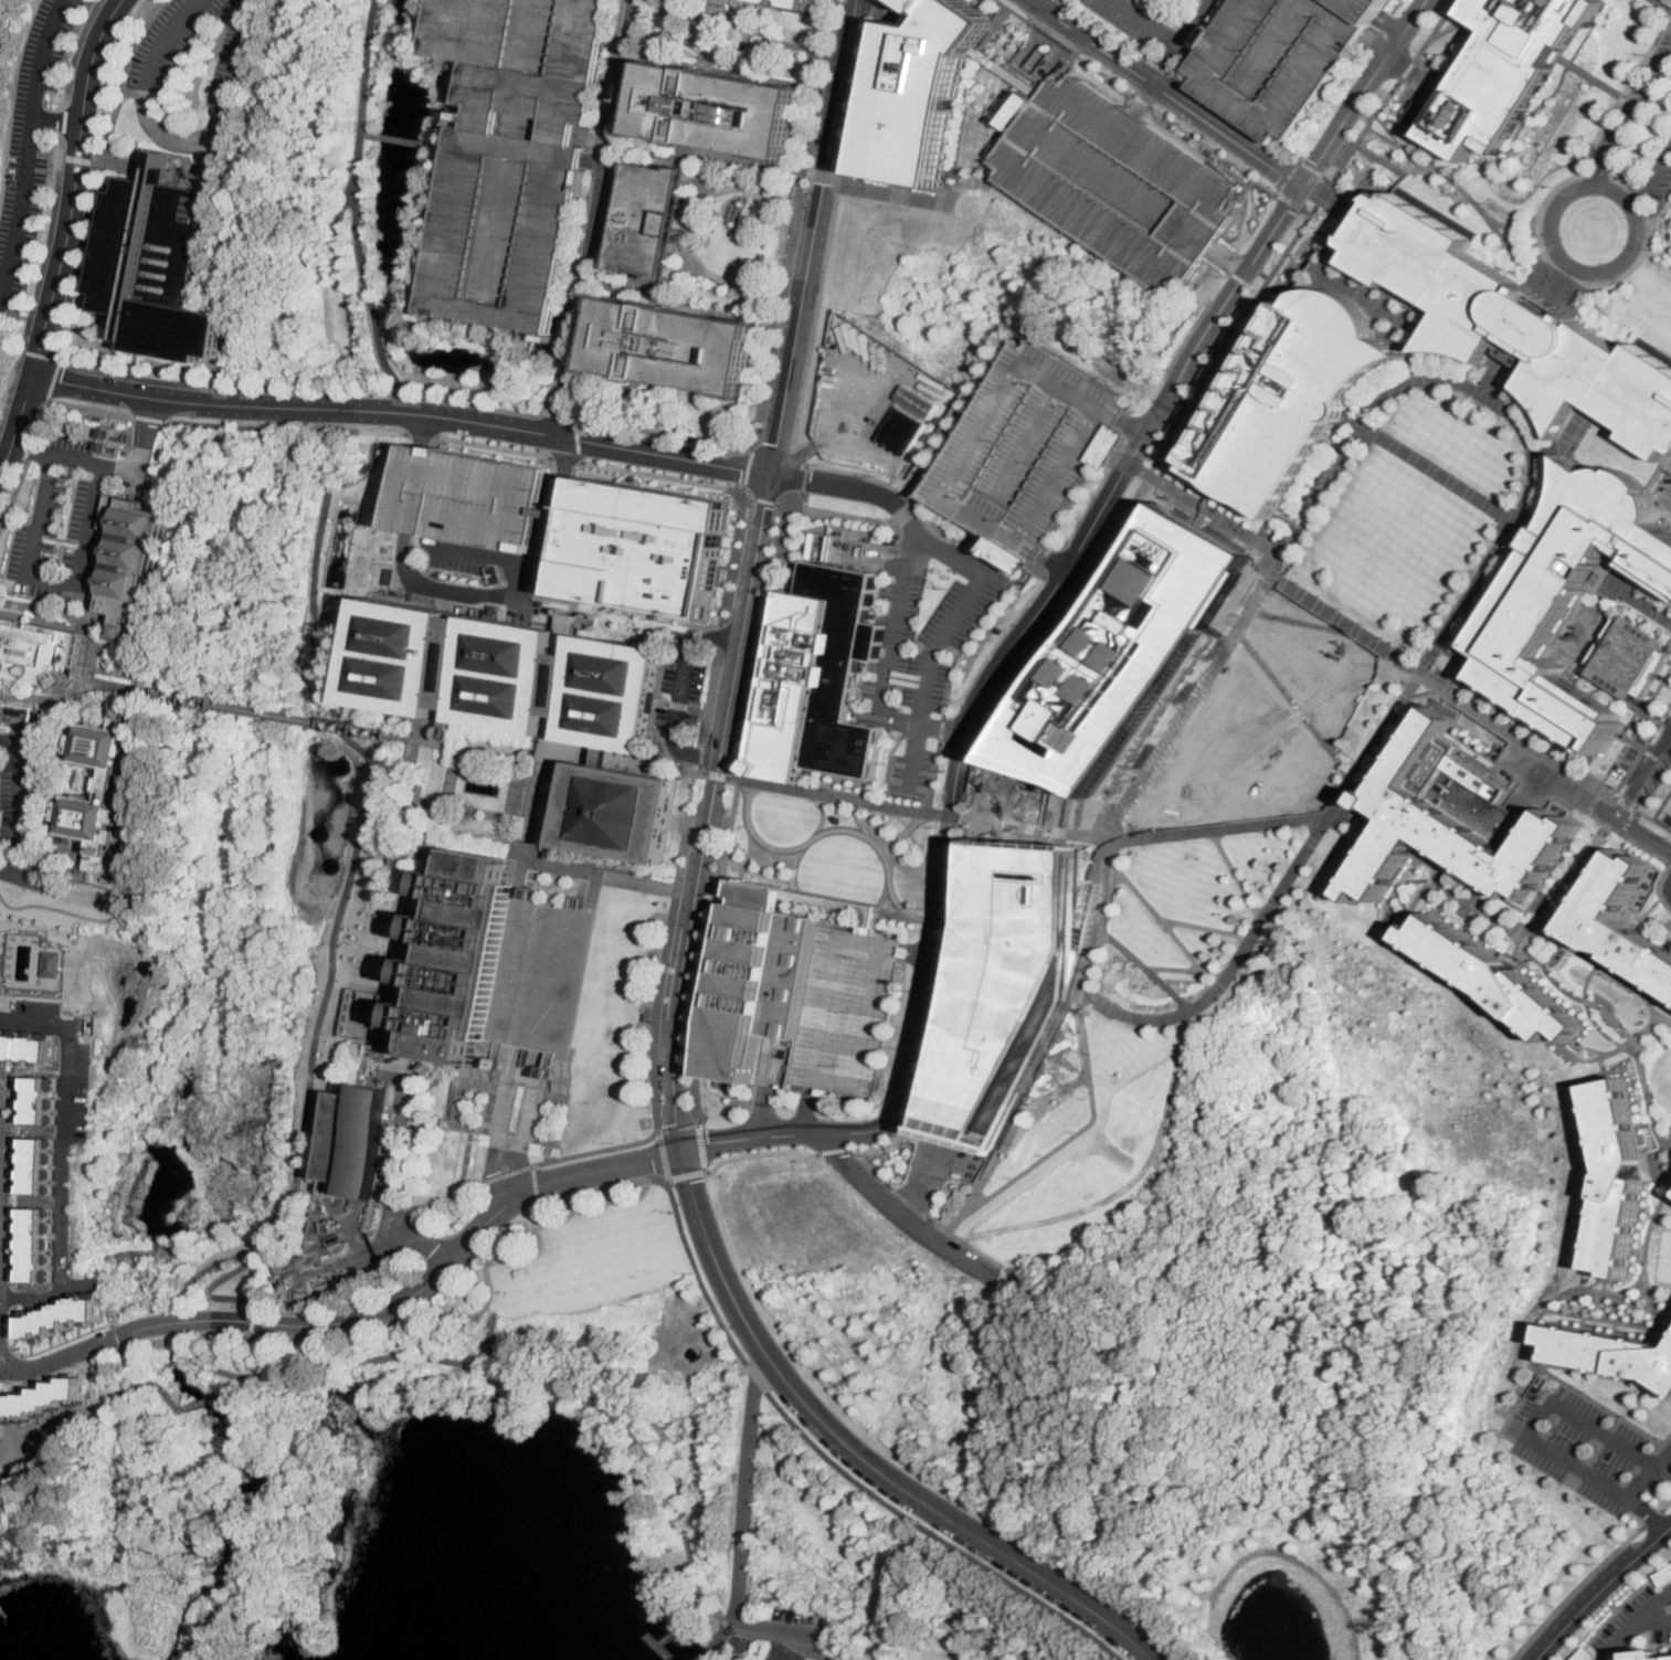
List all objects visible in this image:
road: (1663, 3)
building: (802, 4)
road: (1046, 4)
road: (662, 9)
road: (1015, 10)
road: (732, 17)
road: (857, 20)
road: (665, 22)
road: (1193, 23)
road: (1392, 24)
road: (1436, 30)
road: (1102, 31)
road: (707, 34)
road: (1161, 35)
road: (1053, 38)
road: (748, 39)
parking lot: (170, 42)
road: (796, 43)
road: (77, 50)
road: (708, 52)
road: (1188, 52)
road: (94, 57)
building: (1281, 57)
parking lot: (1281, 57)
road: (1400, 62)
parking lot: (240, 63)
road: (368, 65)
road: (1162, 68)
road: (1408, 70)
building: (1504, 71)
road: (1103, 73)
road: (126, 77)
road: (1601, 83)
building: (921, 91)
road: (1165, 92)
road: (1364, 92)
road: (860, 95)
road: (1386, 97)
parking lot: (1631, 98)
road: (1142, 99)
road: (1142, 99)
road: (1621, 99)
road: (838, 101)
building: (721, 112)
road: (57, 118)
road: (65, 119)
road: (1631, 123)
road: (1236, 124)
road: (1387, 129)
road: (1363, 131)
road: (364, 133)
road: (599, 136)
road: (181, 139)
road: (402, 139)
road: (30, 141)
parking lot: (31, 145)
road: (1216, 149)
road: (680, 151)
road: (666, 152)
building: (516, 154)
parking lot: (516, 154)
road: (46, 155)
road: (744, 158)
road: (78, 159)
road: (70, 161)
road: (86, 162)
road: (124, 166)
road: (1310, 168)
road: (711, 170)
road: (821, 171)
road: (824, 172)
road: (840, 175)
road: (1289, 176)
road: (1599, 176)
road: (1328, 178)
road: (772, 179)
road: (1650, 179)
building: (1118, 181)
parking lot: (1118, 181)
road: (1458, 184)
road: (1621, 184)
parking lot: (1661, 184)
road: (1608, 189)
road: (922, 197)
road: (1290, 199)
road: (1637, 200)
road: (1342, 202)
road: (1627, 204)
road: (1659, 207)
road: (1308, 210)
road: (1350, 215)
road: (595, 218)
building: (653, 220)
road: (1517, 222)
road: (795, 223)
park: (733, 237)
road: (1550, 241)
road: (1632, 241)
road: (787, 242)
road: (339, 252)
road: (1229, 256)
road: (1219, 262)
building: (159, 268)
road: (1565, 268)
road: (1545, 272)
road: (1275, 274)
road: (713, 276)
road: (1562, 276)
road: (1242, 277)
road: (40, 279)
road: (644, 285)
road: (370, 292)
road: (750, 296)
building: (1578, 297)
road: (720, 304)
road: (1374, 304)
road: (1543, 305)
road: (815, 311)
building: (1513, 324)
road: (61, 334)
road: (1524, 335)
road: (41, 337)
road: (1522, 339)
building: (868, 343)
building: (679, 347)
road: (1244, 351)
road: (41, 352)
building: (114, 364)
building: (1228, 367)
road: (54, 378)
road: (1414, 381)
road: (641, 384)
road: (306, 390)
building: (1291, 398)
road: (402, 402)
building: (918, 402)
road: (49, 403)
building: (1363, 403)
road: (74, 404)
road: (866, 404)
road: (497, 408)
road: (402, 412)
road: (562, 414)
road: (149, 417)
road: (1183, 417)
road: (287, 426)
road: (1133, 427)
building: (901, 431)
building: (104, 432)
road: (422, 433)
road: (665, 433)
building: (1343, 435)
park: (1459, 438)
road: (1564, 442)
road: (142, 445)
road: (493, 445)
road: (30, 446)
building: (102, 446)
road: (1163, 450)
building: (1024, 451)
parking lot: (1024, 451)
road: (1121, 457)
road: (73, 458)
road: (565, 458)
road: (748, 469)
road: (1434, 473)
road: (1149, 474)
road: (662, 475)
building: (1318, 475)
road: (803, 478)
road: (886, 484)
road: (850, 486)
road: (1201, 491)
road: (14, 495)
building: (1305, 495)
building: (472, 496)
parking garage: (472, 496)
road: (761, 499)
road: (800, 499)
road: (834, 511)
building: (1532, 511)
road: (902, 512)
parking lot: (518, 522)
parking lot: (63, 524)
building: (855, 531)
building: (878, 536)
building: (1280, 536)
building: (1512, 542)
building: (643, 546)
road: (963, 548)
park: (1390, 548)
building: (133, 557)
road: (734, 558)
road: (1050, 559)
road: (52, 578)
road: (1621, 579)
road: (1047, 580)
building: (1487, 583)
road: (465, 595)
building: (1568, 596)
road: (1632, 600)
building: (1277, 602)
building: (1474, 602)
road: (51, 611)
road: (1303, 623)
road: (1342, 623)
road: (99, 627)
road: (974, 628)
road: (721, 637)
road: (760, 639)
road: (1043, 641)
road: (939, 642)
building: (1449, 642)
parking lot: (922, 643)
building: (38, 651)
building: (1127, 651)
building: (1629, 658)
road: (734, 665)
road: (887, 665)
road: (1661, 678)
building: (821, 679)
road: (1198, 685)
road: (683, 690)
road: (1606, 690)
road: (1443, 691)
road: (1625, 694)
road: (711, 696)
road: (80, 701)
road: (664, 701)
road: (678, 704)
road: (1438, 706)
road: (1463, 706)
road: (1292, 707)
building: (533, 708)
road: (699, 708)
road: (278, 715)
road: (972, 716)
road: (50, 721)
park: (1270, 723)
road: (942, 729)
road: (1386, 730)
road: (1513, 733)
road: (1621, 737)
road: (1626, 737)
road: (1640, 748)
road: (568, 750)
road: (1374, 750)
road: (701, 753)
road: (609, 757)
parking lot: (1630, 758)
road: (656, 765)
road: (699, 768)
road: (1363, 768)
road: (700, 772)
parking lot: (1657, 772)
road: (1644, 773)
road: (717, 774)
road: (934, 775)
building: (106, 785)
fountain: (480, 786)
road: (1371, 787)
parking lot: (20, 789)
road: (517, 791)
road: (523, 792)
road: (833, 792)
road: (533, 793)
park: (486, 796)
road: (539, 797)
park: (1354, 797)
parking lot: (1669, 799)
road: (1574, 802)
road: (1622, 803)
road: (17, 807)
road: (1366, 808)
road: (950, 812)
road: (1362, 813)
road: (823, 815)
building: (1457, 815)
road: (980, 816)
road: (1653, 818)
road: (1626, 821)
road: (1014, 822)
road: (1035, 824)
road: (533, 827)
road: (1056, 827)
road: (1218, 827)
road: (831, 829)
road: (905, 832)
road: (1090, 833)
road: (1643, 834)
road: (532, 835)
road: (1354, 837)
road: (508, 840)
road: (1625, 842)
road: (530, 843)
road: (1309, 846)
park: (835, 848)
road: (896, 853)
park: (1262, 855)
road: (750, 859)
road: (1107, 860)
road: (1669, 863)
road: (23, 868)
road: (1410, 871)
road: (744, 873)
road: (1236, 875)
road: (1094, 881)
park: (1192, 884)
road: (1670, 887)
road: (1425, 892)
road: (1102, 896)
road: (81, 897)
road: (819, 899)
road: (343, 900)
road: (879, 902)
road: (1545, 902)
road: (80, 913)
road: (1563, 913)
road: (1156, 914)
road: (1644, 914)
road: (930, 919)
road: (1668, 919)
road: (958, 920)
building: (1620, 921)
road: (1657, 921)
parking lot: (1670, 921)
road: (948, 922)
road: (1390, 922)
road: (1205, 928)
park: (1141, 930)
road: (1529, 931)
road: (1555, 933)
road: (1533, 942)
park: (1207, 945)
road: (705, 948)
road: (1421, 948)
road: (1587, 949)
road: (667, 950)
road: (912, 954)
building: (462, 955)
road: (1432, 960)
road: (1135, 961)
building: (53, 963)
road: (1519, 964)
road: (1449, 965)
road: (1185, 969)
road: (1553, 973)
building: (538, 974)
parking lot: (538, 974)
building: (1500, 976)
building: (750, 977)
road: (1620, 977)
building: (1004, 991)
road: (32, 995)
road: (940, 1004)
road: (1589, 1008)
building: (387, 1012)
building: (843, 1012)
parking garage: (843, 1012)
road: (1128, 1015)
road: (1611, 1015)
road: (1663, 1018)
road: (36, 1019)
road: (1638, 1034)
building: (27, 1045)
road: (1594, 1049)
road: (1575, 1055)
road: (1600, 1061)
parking lot: (64, 1064)
road: (763, 1065)
park: (1661, 1077)
road: (766, 1087)
road: (1646, 1092)
building: (41, 1099)
road: (805, 1112)
road: (679, 1124)
road: (1076, 1131)
road: (1011, 1133)
building: (356, 1139)
park: (1089, 1141)
road: (702, 1145)
road: (1665, 1145)
road: (2, 1149)
road: (597, 1149)
road: (831, 1149)
road: (507, 1150)
road: (760, 1152)
road: (664, 1154)
road: (394, 1156)
road: (1650, 1156)
building: (40, 1164)
road: (866, 1165)
road: (508, 1172)
road: (510, 1173)
road: (1657, 1174)
road: (687, 1175)
building: (1614, 1175)
road: (665, 1178)
road: (918, 1178)
road: (536, 1181)
road: (66, 1186)
road: (1667, 1195)
road: (447, 1197)
road: (906, 1199)
road: (540, 1204)
road: (891, 1206)
road: (394, 1222)
building: (317, 1225)
road: (372, 1230)
building: (335, 1238)
road: (2, 1239)
park: (583, 1239)
road: (966, 1240)
building: (36, 1241)
road: (385, 1245)
road: (141, 1252)
park: (1660, 1254)
road: (190, 1259)
road: (1582, 1260)
road: (1641, 1262)
road: (701, 1278)
road: (252, 1280)
road: (1601, 1280)
road: (208, 1289)
road: (1557, 1293)
road: (362, 1314)
building: (64, 1317)
road: (436, 1317)
road: (68, 1318)
road: (1603, 1319)
road: (1667, 1321)
road: (252, 1322)
road: (96, 1325)
road: (251, 1334)
road: (121, 1337)
road: (34, 1339)
road: (1533, 1340)
road: (0, 1350)
building: (1608, 1352)
road: (1555, 1365)
road: (214, 1367)
road: (758, 1376)
road: (609, 1396)
building: (47, 1397)
road: (213, 1397)
road: (1550, 1400)
road: (1517, 1407)
road: (1607, 1409)
road: (92, 1411)
parking lot: (1587, 1447)
road: (1661, 1453)
road: (861, 1455)
road: (1664, 1504)
road: (1646, 1513)
road: (1650, 1518)
road: (742, 1531)
road: (939, 1534)
parking lot: (1662, 1573)
building: (1662, 1574)
road: (1598, 1587)
road: (1573, 1588)
parking lot: (1570, 1604)
road: (938, 1606)
road: (694, 1613)
parking lot: (1621, 1616)
road: (845, 1618)
road: (1657, 1622)
parking lot: (799, 1624)
road: (1636, 1624)
road: (721, 1631)
road: (1642, 1631)
pier: (673, 1633)
road: (729, 1635)
parking lot: (1659, 1635)
pier: (660, 1645)
building: (1582, 1653)
parking lot: (1582, 1653)
building: (1648, 1653)
pier: (717, 1657)

